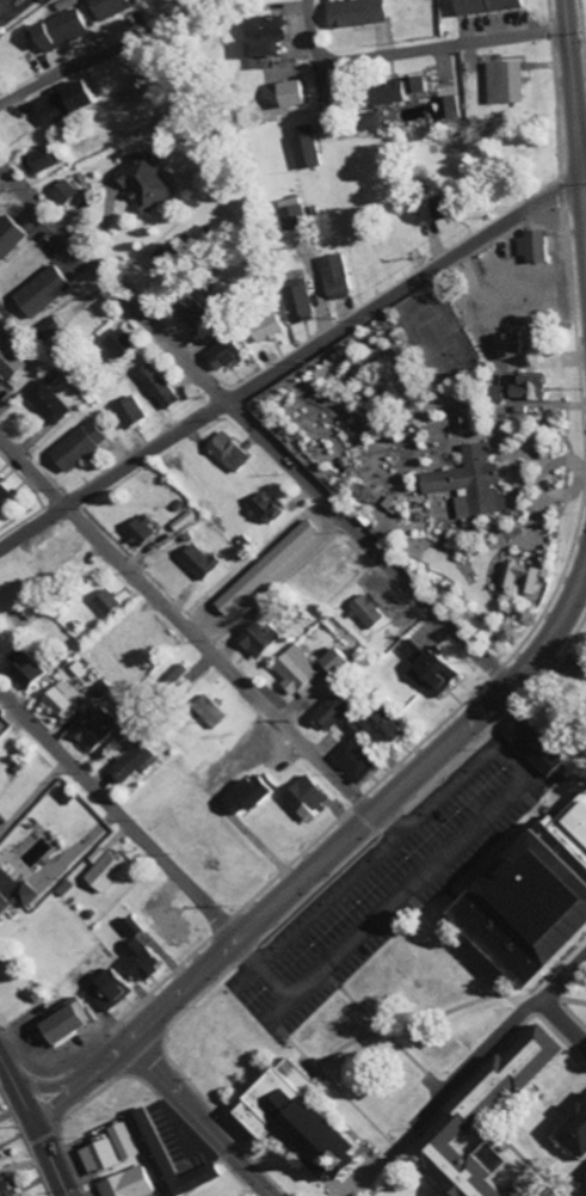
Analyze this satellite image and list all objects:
building: (493, 6)
building: (112, 7)
building: (359, 13)
building: (66, 30)
road: (311, 31)
building: (269, 37)
road: (438, 48)
building: (511, 82)
building: (403, 92)
building: (300, 94)
road: (322, 96)
building: (69, 103)
building: (451, 108)
building: (388, 112)
building: (376, 122)
building: (307, 147)
building: (43, 160)
building: (147, 182)
building: (66, 194)
building: (295, 214)
building: (11, 238)
building: (536, 247)
building: (177, 259)
building: (337, 277)
building: (45, 292)
building: (301, 305)
building: (196, 314)
building: (271, 327)
building: (54, 329)
building: (514, 345)
building: (121, 346)
building: (227, 354)
building: (12, 360)
road: (283, 364)
building: (533, 386)
building: (160, 387)
building: (49, 403)
building: (131, 412)
road: (247, 424)
building: (82, 446)
building: (230, 453)
building: (475, 484)
building: (6, 496)
building: (266, 509)
building: (143, 532)
building: (201, 562)
building: (270, 568)
building: (522, 577)
building: (110, 603)
building: (371, 611)
road: (183, 622)
building: (261, 639)
road: (518, 655)
road: (557, 655)
building: (341, 663)
building: (298, 670)
building: (432, 670)
building: (30, 673)
building: (62, 700)
building: (335, 711)
building: (98, 729)
building: (354, 747)
building: (538, 747)
building: (134, 762)
road: (507, 795)
building: (254, 797)
building: (310, 799)
road: (115, 814)
road: (384, 817)
building: (0, 830)
building: (111, 871)
building: (14, 894)
building: (542, 901)
building: (144, 953)
road: (582, 958)
building: (112, 992)
building: (72, 1025)
road: (12, 1082)
road: (193, 1116)
building: (308, 1117)
building: (492, 1122)
building: (580, 1130)
building: (128, 1141)
road: (45, 1152)
building: (1, 1153)
building: (104, 1158)
building: (171, 1159)
building: (131, 1184)
building: (8, 1190)

